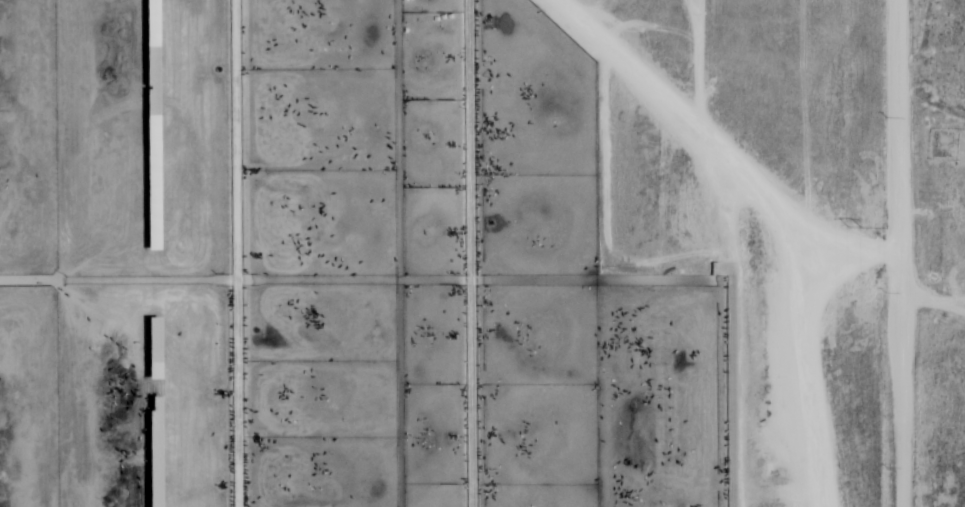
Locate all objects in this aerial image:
road: (723, 153)
power tower: (853, 223)
road: (910, 253)
road: (804, 375)

